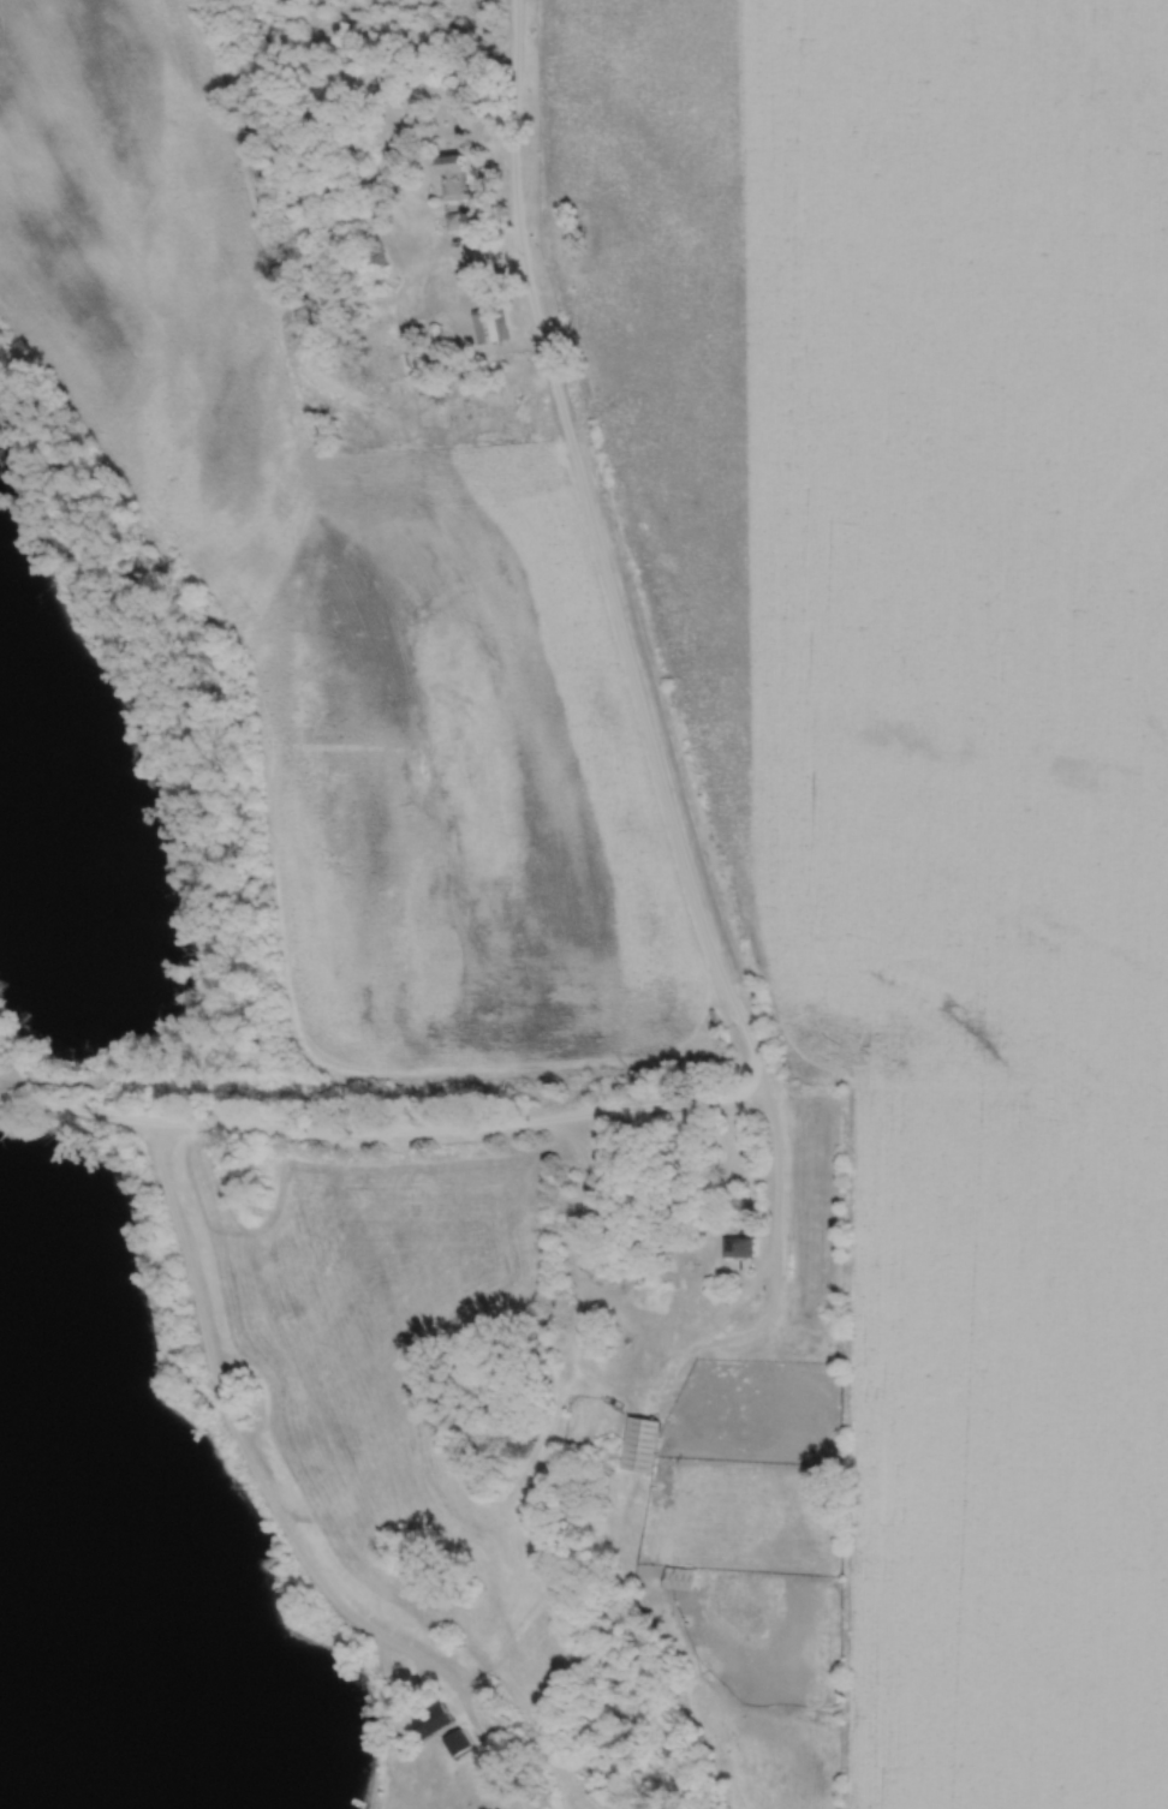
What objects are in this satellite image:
building: (455, 177)
building: (491, 326)
road: (621, 638)
road: (381, 1129)
building: (740, 1247)
road: (574, 1318)
road: (749, 1339)
building: (642, 1445)
road: (281, 1507)
building: (683, 1580)
building: (434, 1721)
building: (459, 1743)

